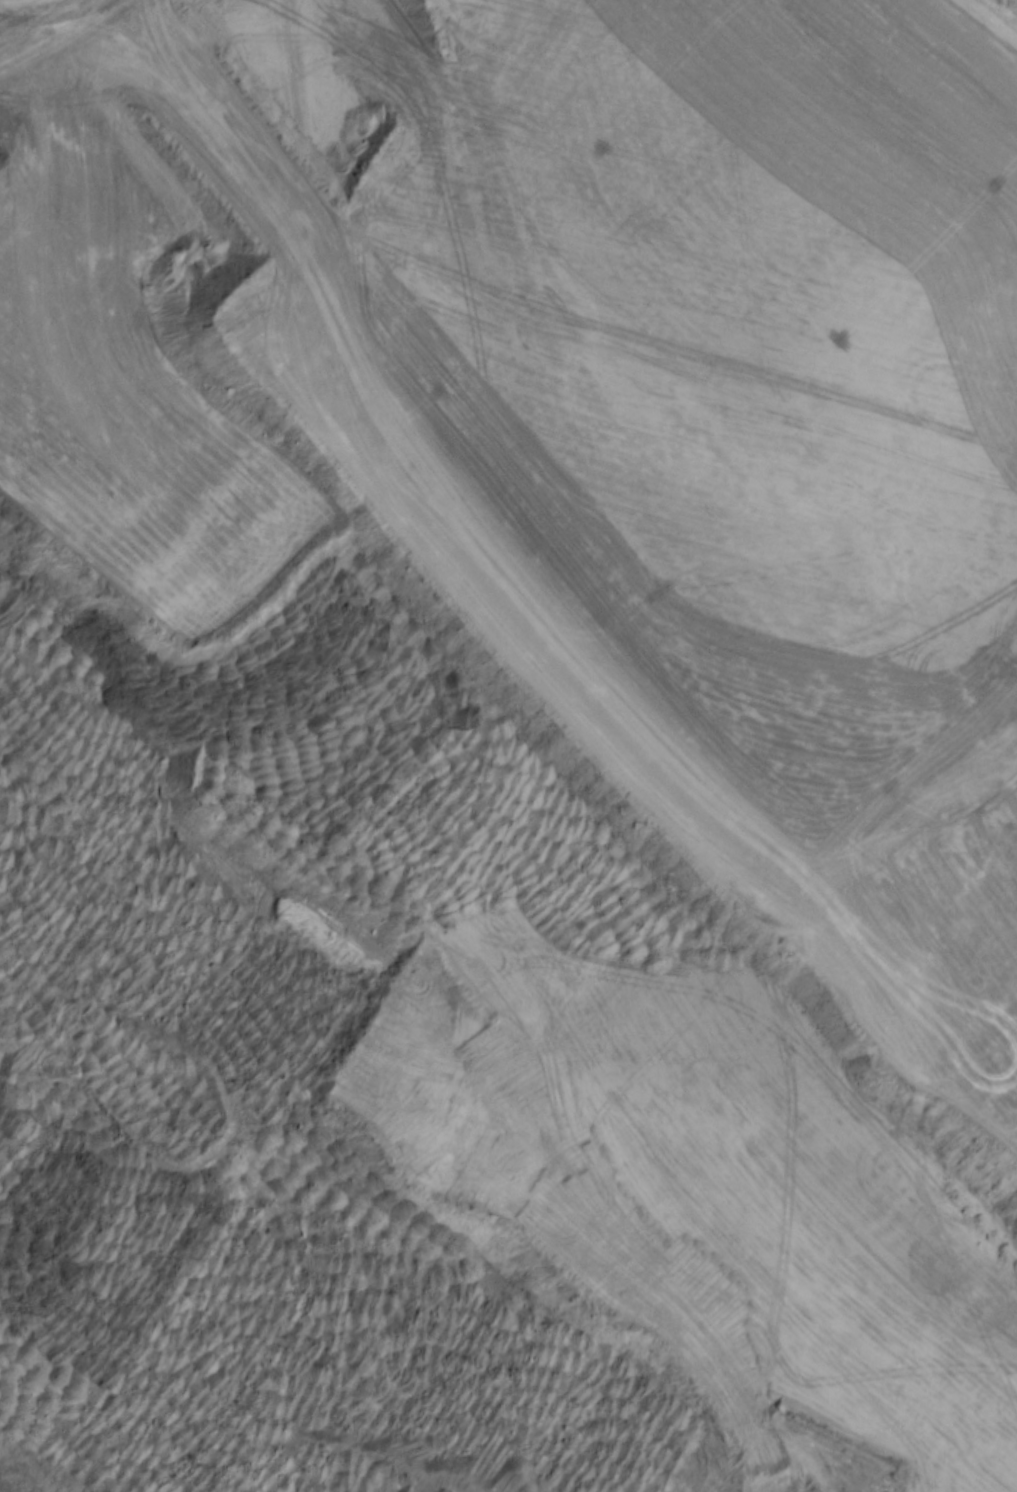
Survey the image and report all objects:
road: (843, 1303)
road: (438, 1398)
road: (866, 1478)

